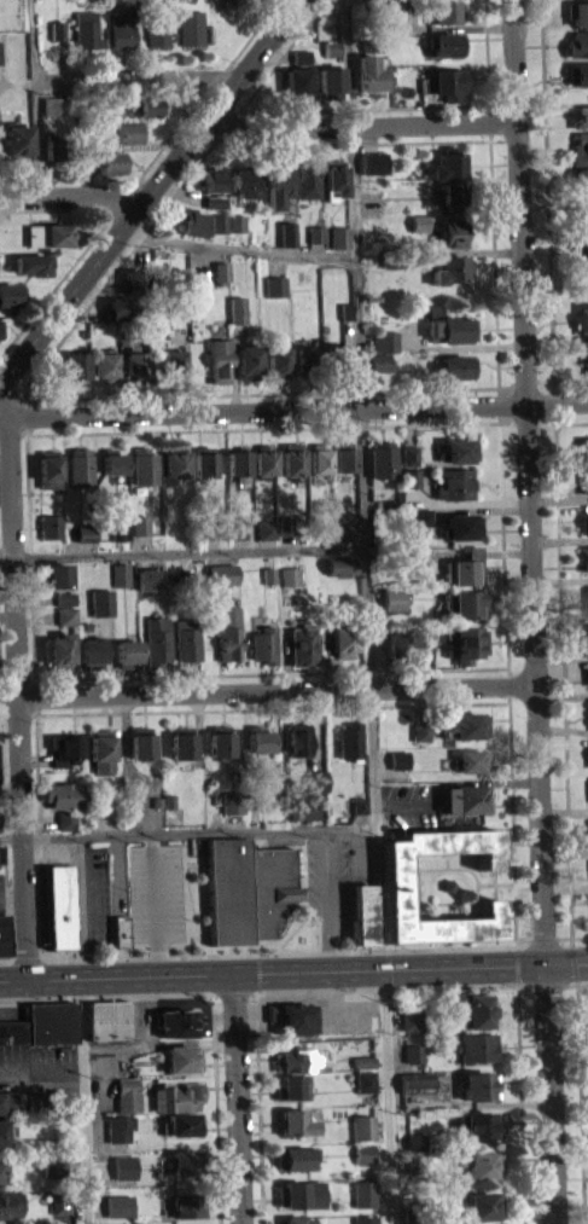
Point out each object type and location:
building: (429, 0)
building: (186, 4)
building: (365, 4)
building: (446, 10)
building: (578, 11)
building: (121, 25)
building: (155, 25)
building: (190, 25)
building: (54, 28)
building: (85, 28)
building: (56, 39)
building: (444, 41)
building: (577, 41)
building: (369, 42)
building: (330, 45)
road: (31, 50)
building: (447, 52)
building: (299, 54)
road: (58, 57)
building: (577, 71)
building: (368, 72)
road: (147, 76)
building: (330, 77)
building: (296, 80)
building: (448, 80)
road: (17, 81)
building: (577, 82)
building: (48, 103)
building: (144, 104)
road: (363, 108)
building: (580, 114)
building: (147, 118)
road: (359, 124)
building: (126, 129)
building: (13, 140)
road: (435, 140)
road: (283, 144)
building: (580, 144)
building: (52, 146)
building: (109, 159)
building: (373, 159)
building: (448, 163)
building: (110, 169)
building: (581, 174)
road: (138, 175)
building: (336, 175)
building: (278, 176)
building: (307, 176)
building: (244, 178)
building: (213, 179)
road: (546, 190)
building: (453, 191)
road: (150, 192)
road: (491, 192)
building: (371, 195)
road: (75, 196)
road: (0, 198)
building: (215, 201)
road: (56, 207)
building: (214, 209)
building: (580, 210)
building: (419, 220)
building: (192, 221)
building: (219, 221)
building: (235, 221)
building: (237, 230)
building: (418, 231)
building: (452, 231)
building: (46, 232)
building: (287, 232)
building: (340, 234)
road: (238, 248)
building: (580, 251)
building: (389, 256)
building: (29, 261)
building: (449, 266)
building: (221, 269)
building: (30, 272)
building: (133, 279)
building: (581, 282)
building: (275, 285)
building: (7, 291)
building: (118, 307)
building: (237, 308)
building: (345, 309)
building: (581, 315)
building: (447, 324)
building: (123, 335)
building: (384, 340)
building: (0, 341)
building: (583, 350)
building: (336, 358)
building: (219, 359)
building: (248, 360)
building: (276, 360)
building: (305, 360)
building: (378, 360)
building: (105, 364)
building: (135, 364)
building: (173, 364)
building: (454, 364)
building: (76, 365)
building: (379, 370)
road: (570, 378)
road: (28, 384)
road: (514, 384)
road: (13, 395)
road: (293, 407)
road: (27, 416)
road: (557, 422)
road: (262, 425)
building: (458, 448)
building: (583, 448)
building: (409, 454)
building: (344, 456)
building: (320, 457)
building: (292, 458)
building: (383, 458)
building: (264, 459)
building: (112, 460)
building: (175, 460)
building: (204, 462)
building: (238, 462)
building: (409, 463)
building: (80, 465)
building: (145, 465)
building: (48, 468)
building: (411, 476)
building: (582, 480)
building: (455, 482)
road: (363, 483)
building: (421, 515)
building: (583, 522)
building: (140, 523)
building: (286, 523)
building: (51, 524)
building: (420, 524)
building: (461, 524)
building: (214, 526)
building: (238, 527)
building: (267, 528)
building: (118, 530)
building: (347, 530)
building: (86, 532)
building: (140, 533)
building: (85, 540)
road: (29, 551)
road: (190, 551)
road: (7, 553)
building: (412, 557)
building: (583, 557)
building: (340, 565)
building: (411, 565)
building: (464, 568)
building: (222, 573)
building: (56, 574)
building: (121, 574)
building: (268, 574)
building: (291, 575)
building: (340, 575)
building: (149, 578)
building: (65, 597)
building: (394, 598)
building: (101, 601)
building: (464, 603)
road: (534, 611)
building: (65, 614)
building: (65, 623)
building: (228, 632)
building: (420, 636)
building: (156, 638)
building: (186, 639)
building: (342, 639)
building: (464, 642)
building: (263, 643)
building: (302, 644)
building: (396, 644)
building: (59, 649)
road: (507, 650)
building: (89, 651)
building: (127, 652)
road: (272, 672)
building: (586, 672)
road: (17, 678)
road: (563, 684)
road: (267, 689)
road: (17, 697)
road: (272, 707)
building: (464, 724)
building: (420, 731)
building: (258, 737)
building: (297, 737)
building: (419, 739)
building: (182, 741)
building: (220, 741)
building: (350, 741)
building: (141, 742)
building: (64, 747)
building: (101, 748)
building: (587, 748)
building: (398, 759)
building: (466, 760)
building: (316, 779)
road: (10, 785)
building: (63, 793)
building: (254, 797)
building: (465, 799)
building: (156, 800)
building: (169, 800)
building: (232, 800)
building: (359, 802)
parking lot: (408, 805)
building: (303, 806)
road: (4, 818)
building: (65, 818)
road: (37, 826)
building: (65, 828)
road: (187, 831)
road: (506, 842)
road: (447, 859)
road: (303, 869)
road: (473, 872)
parking lot: (334, 876)
building: (395, 876)
road: (419, 882)
building: (248, 888)
road: (78, 889)
parking lot: (156, 891)
parking lot: (1, 892)
parking lot: (92, 897)
road: (186, 898)
road: (326, 898)
road: (12, 899)
road: (467, 900)
road: (155, 903)
road: (419, 903)
road: (441, 903)
building: (59, 905)
building: (362, 912)
road: (514, 913)
road: (508, 916)
building: (121, 929)
road: (289, 930)
road: (510, 930)
building: (2, 934)
road: (571, 935)
road: (187, 936)
road: (524, 936)
road: (542, 936)
road: (276, 952)
road: (6, 958)
road: (25, 958)
road: (574, 961)
road: (517, 965)
road: (293, 969)
road: (258, 971)
road: (576, 980)
road: (365, 981)
road: (575, 984)
road: (545, 985)
road: (388, 986)
road: (232, 992)
road: (107, 996)
road: (308, 996)
road: (193, 1003)
building: (471, 1009)
parking lot: (11, 1011)
parking lot: (347, 1013)
building: (290, 1017)
building: (107, 1019)
building: (411, 1019)
building: (176, 1021)
building: (41, 1023)
building: (447, 1038)
road: (155, 1042)
building: (476, 1048)
road: (112, 1049)
building: (413, 1052)
building: (181, 1058)
parking lot: (35, 1061)
building: (293, 1061)
building: (363, 1061)
road: (41, 1062)
building: (365, 1069)
building: (365, 1080)
building: (415, 1080)
building: (477, 1085)
building: (290, 1086)
building: (127, 1094)
road: (390, 1095)
building: (176, 1096)
road: (237, 1097)
building: (6, 1100)
road: (83, 1100)
road: (520, 1103)
road: (580, 1103)
road: (258, 1107)
road: (215, 1108)
building: (182, 1123)
building: (292, 1123)
building: (478, 1125)
building: (362, 1126)
building: (117, 1127)
building: (2, 1132)
building: (414, 1143)
building: (363, 1153)
building: (293, 1158)
building: (185, 1162)
building: (52, 1164)
building: (479, 1164)
building: (2, 1165)
building: (415, 1165)
building: (123, 1174)
building: (0, 1178)
building: (363, 1193)
building: (299, 1194)
building: (59, 1199)
building: (118, 1205)
building: (187, 1205)
building: (482, 1205)
building: (8, 1207)
building: (58, 1212)
building: (412, 1214)
building: (295, 1219)
building: (365, 1219)

